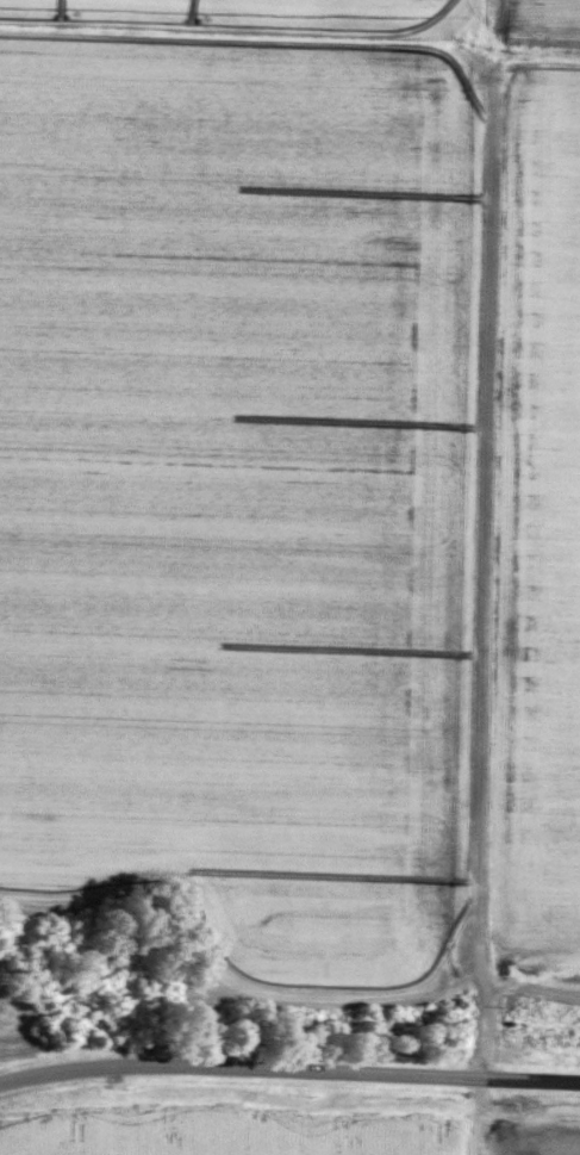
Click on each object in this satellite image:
road: (288, 1072)

